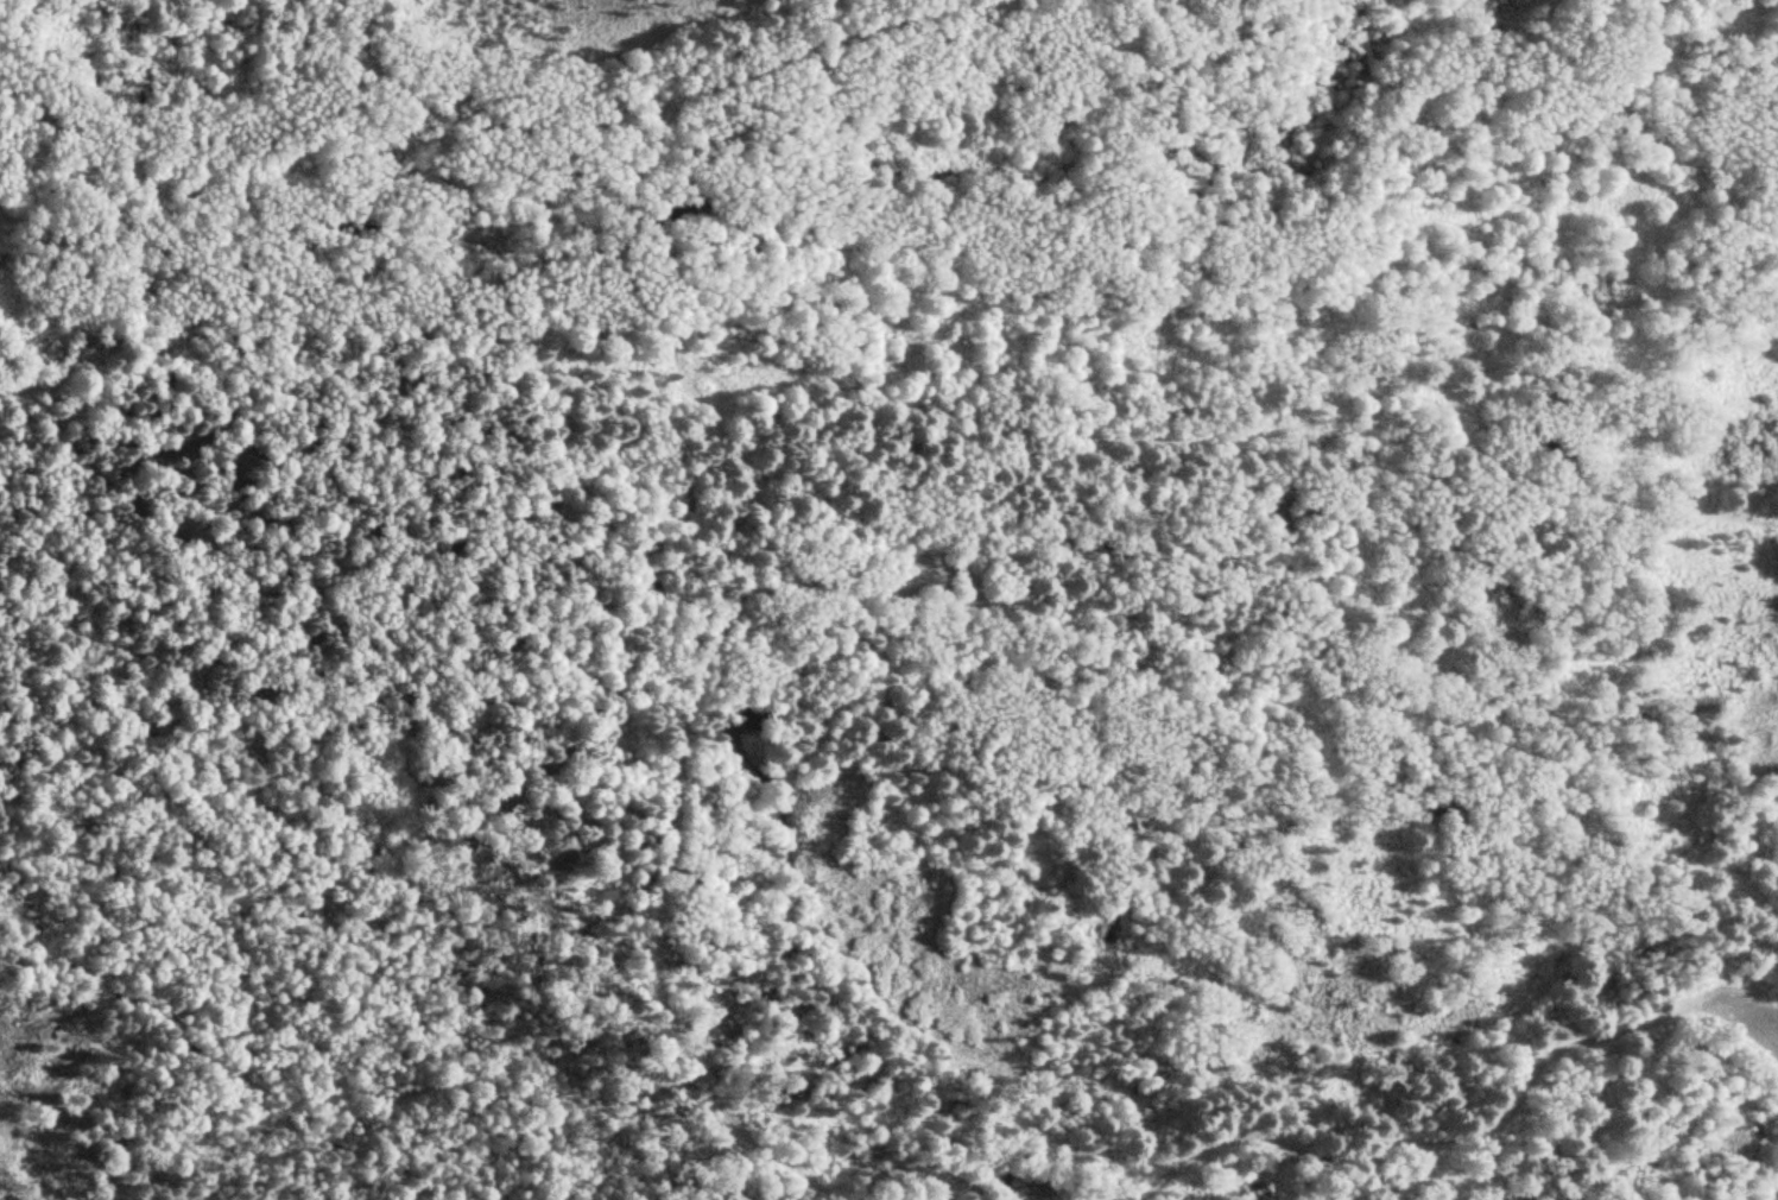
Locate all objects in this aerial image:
road: (643, 114)

